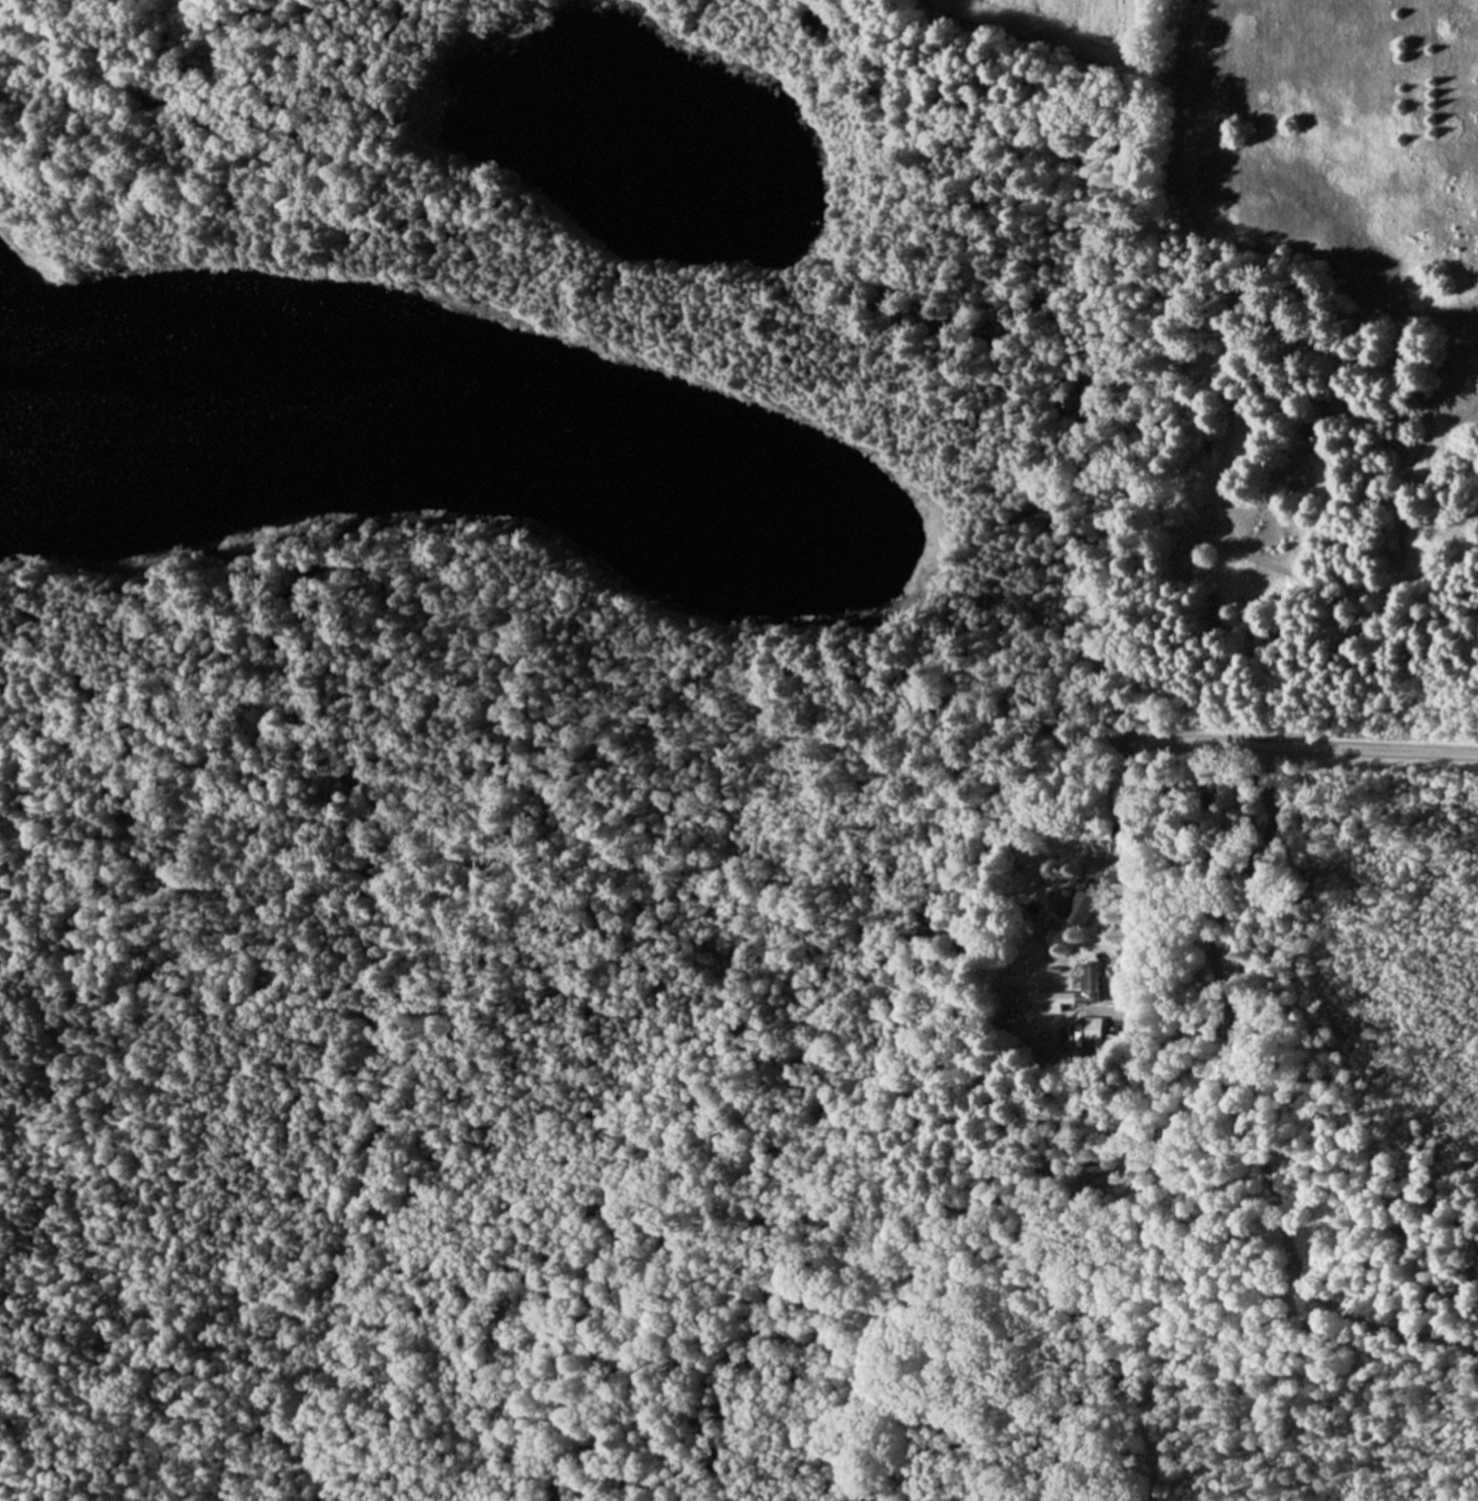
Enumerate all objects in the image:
road: (1305, 745)
road: (1121, 805)
building: (1081, 907)
building: (1088, 976)
building: (1098, 1029)

